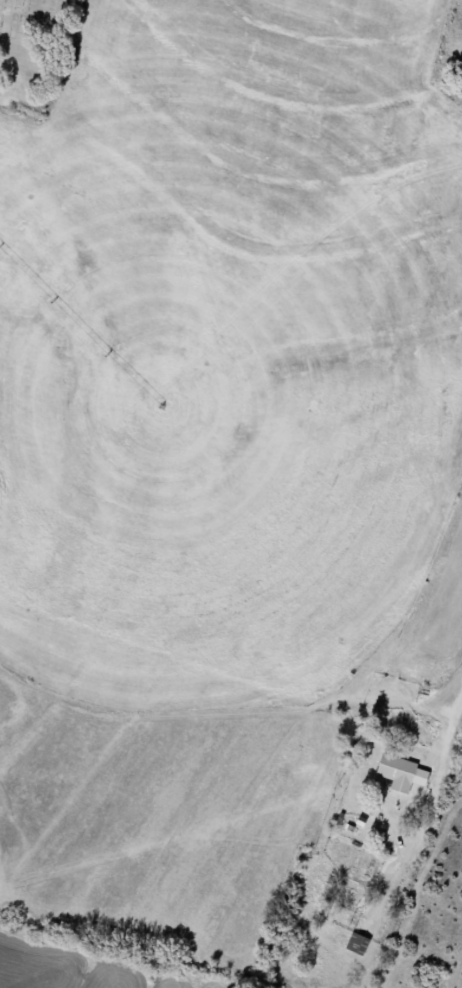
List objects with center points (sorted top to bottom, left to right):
park: (32, 50)
building: (402, 773)
building: (358, 944)

